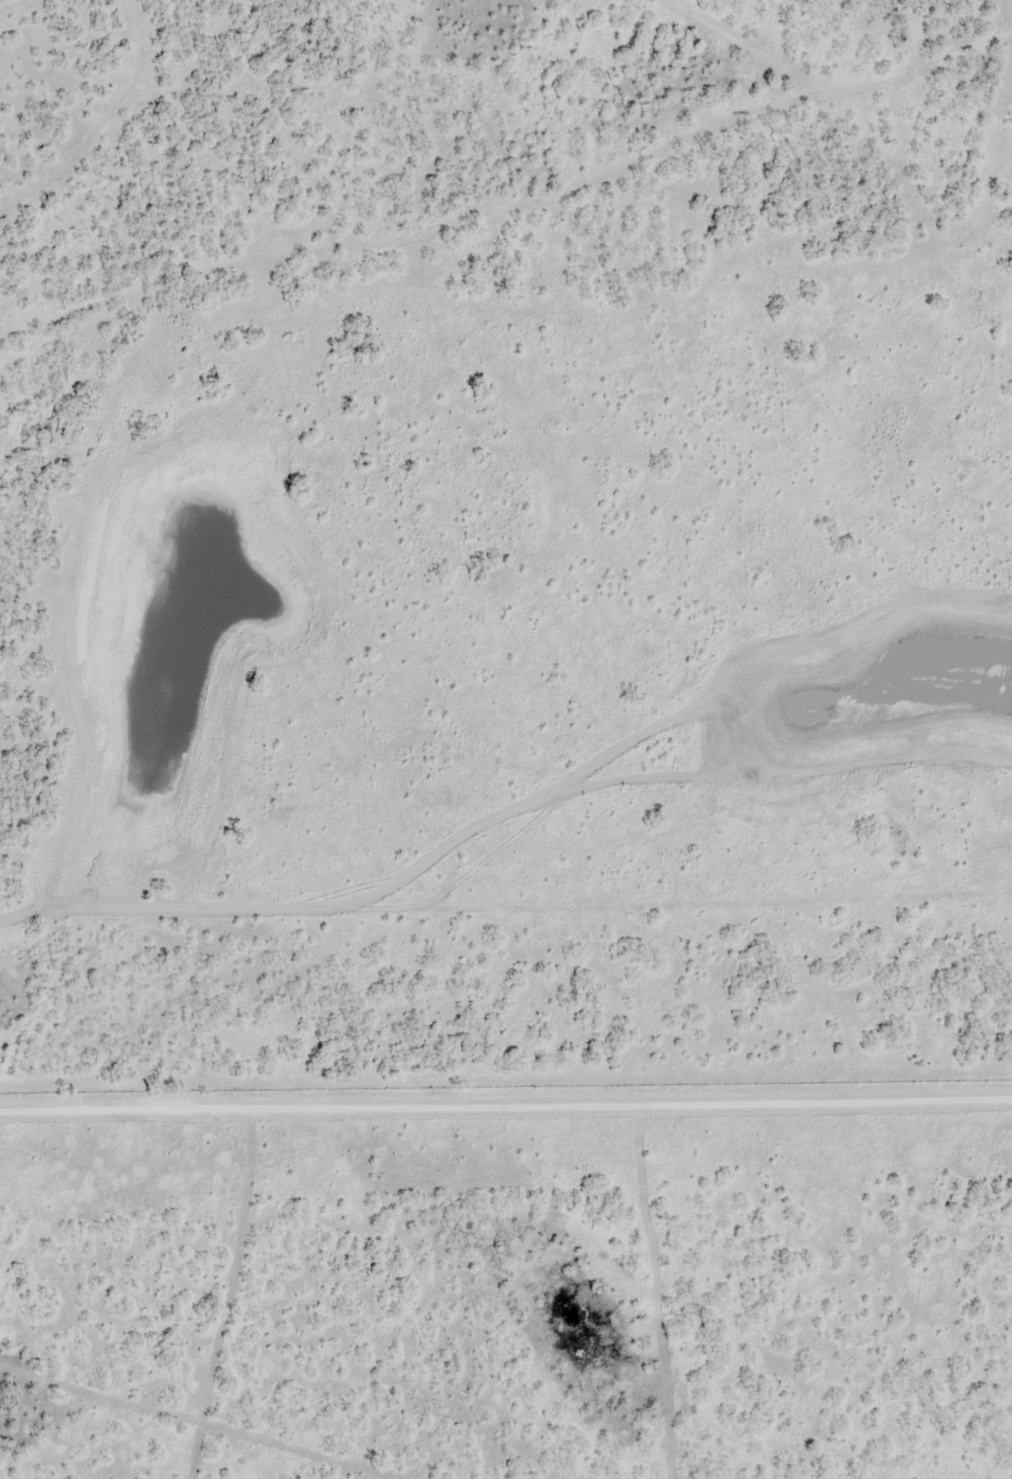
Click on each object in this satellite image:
road: (454, 166)
road: (506, 1104)

